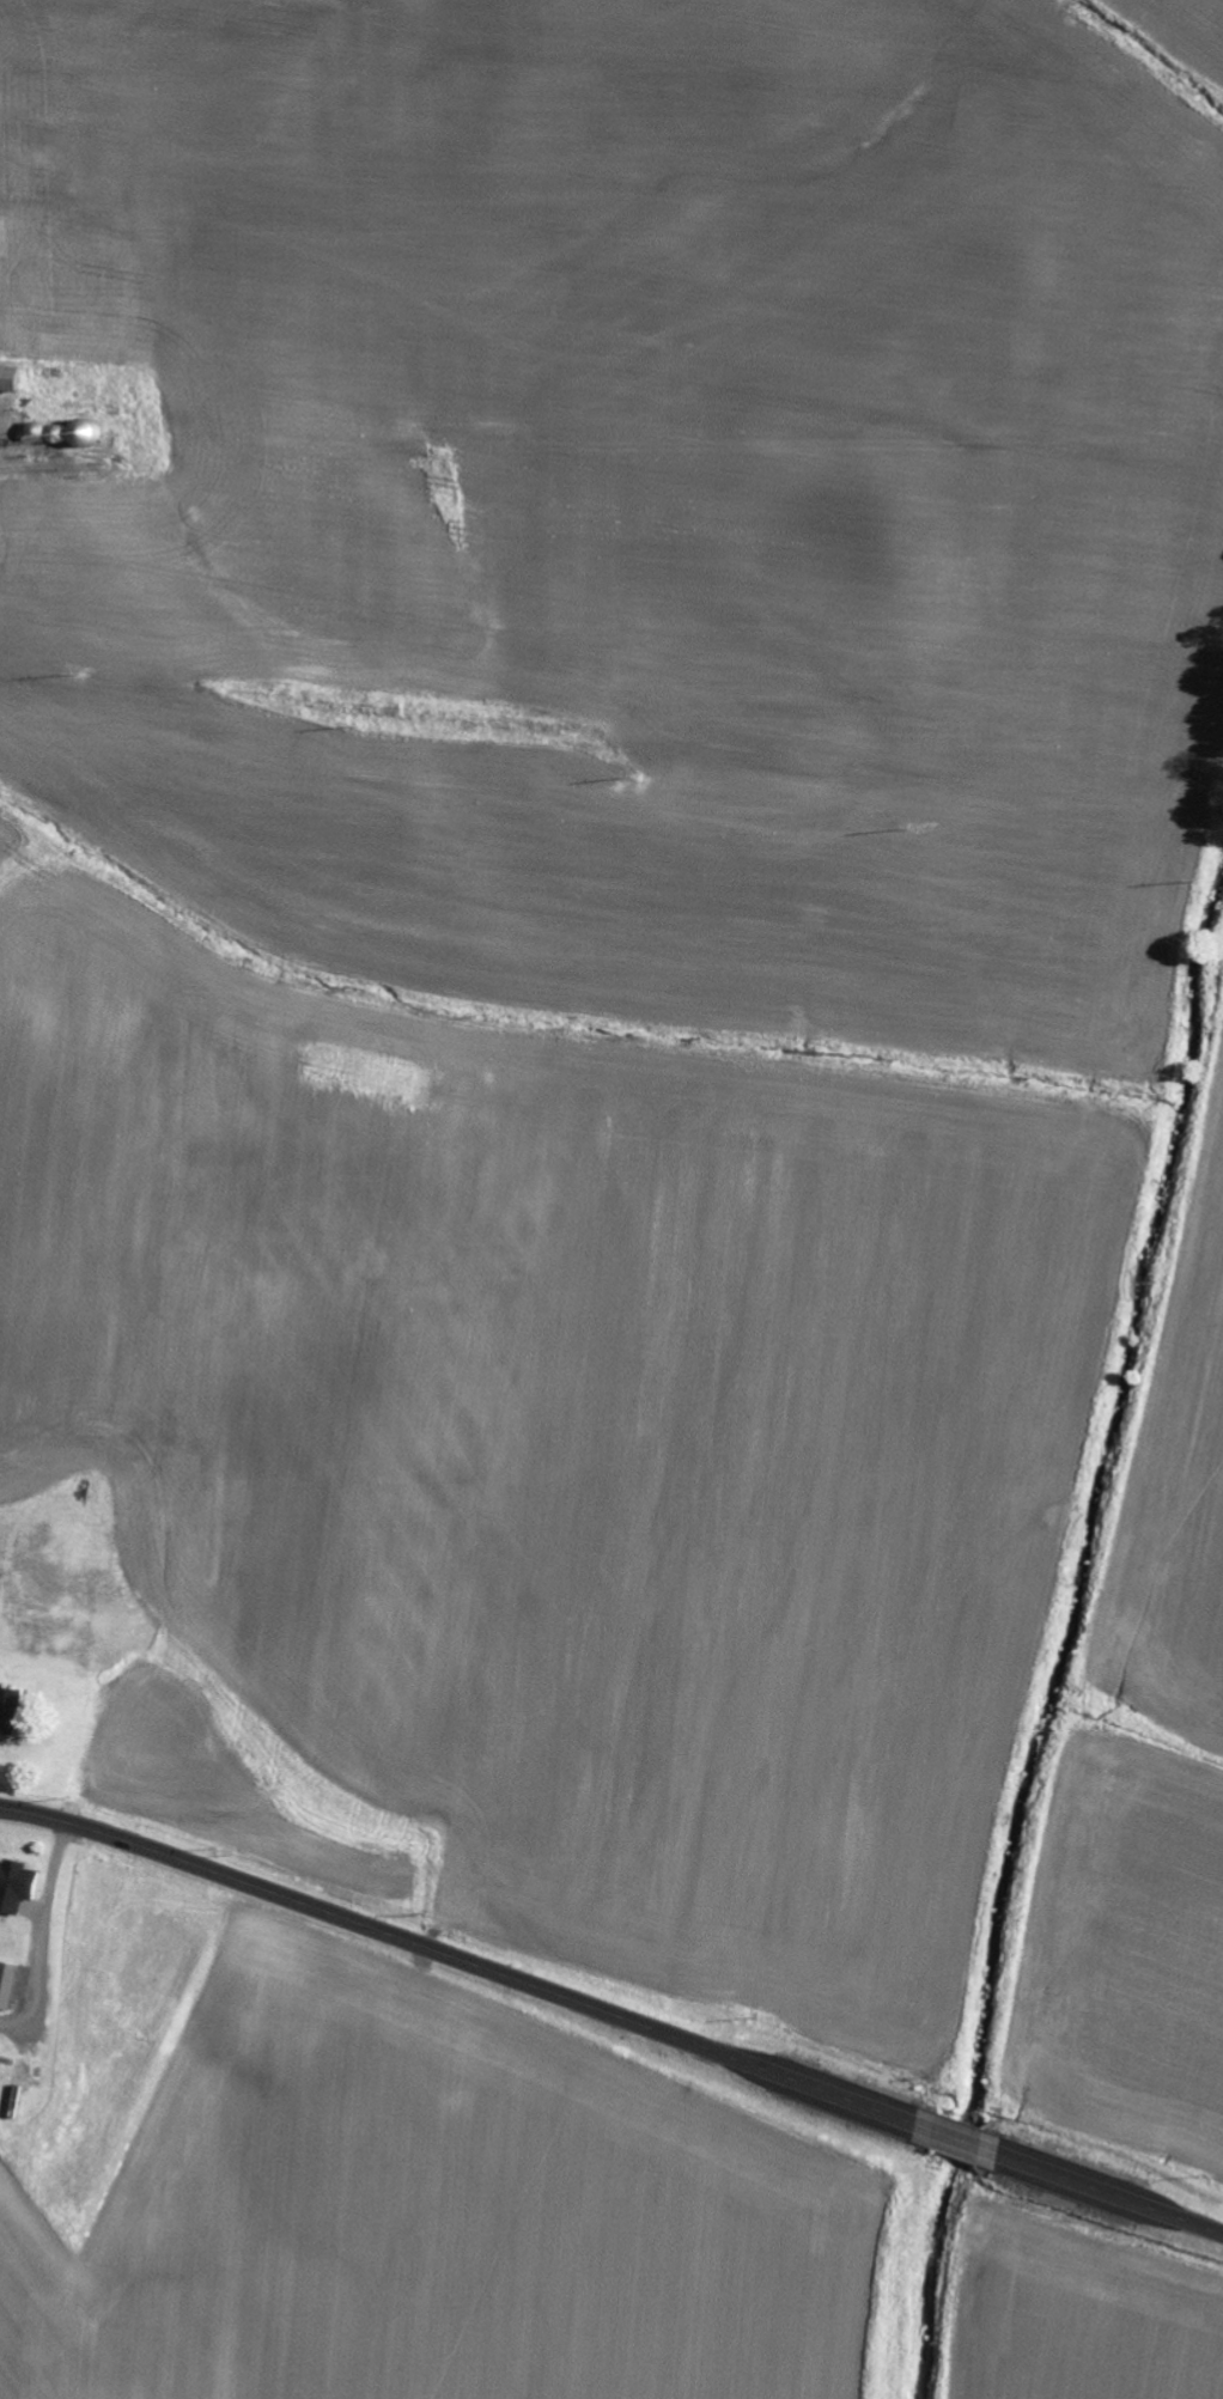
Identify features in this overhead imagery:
building: (14, 379)
building: (0, 1523)
building: (17, 1711)
building: (22, 1886)
building: (13, 1985)
road: (613, 2015)

